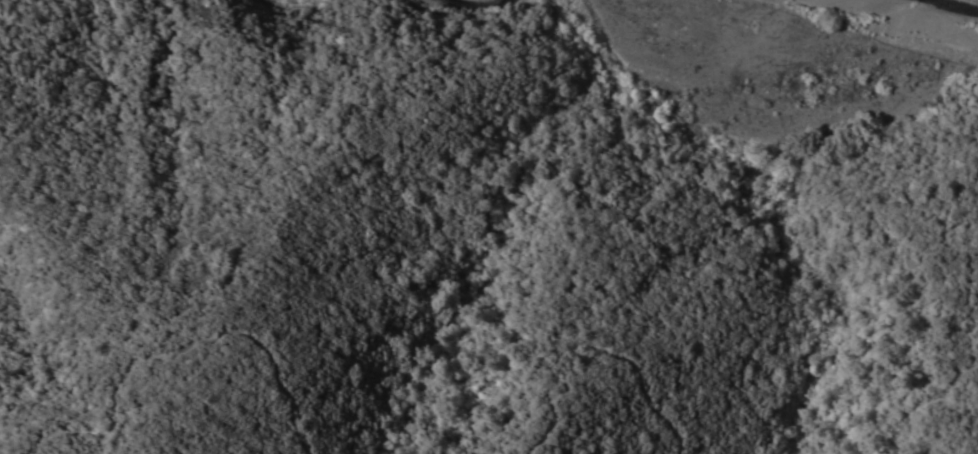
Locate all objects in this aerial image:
river: (958, 4)
river: (478, 5)
road: (181, 341)
road: (600, 351)
road: (922, 385)

